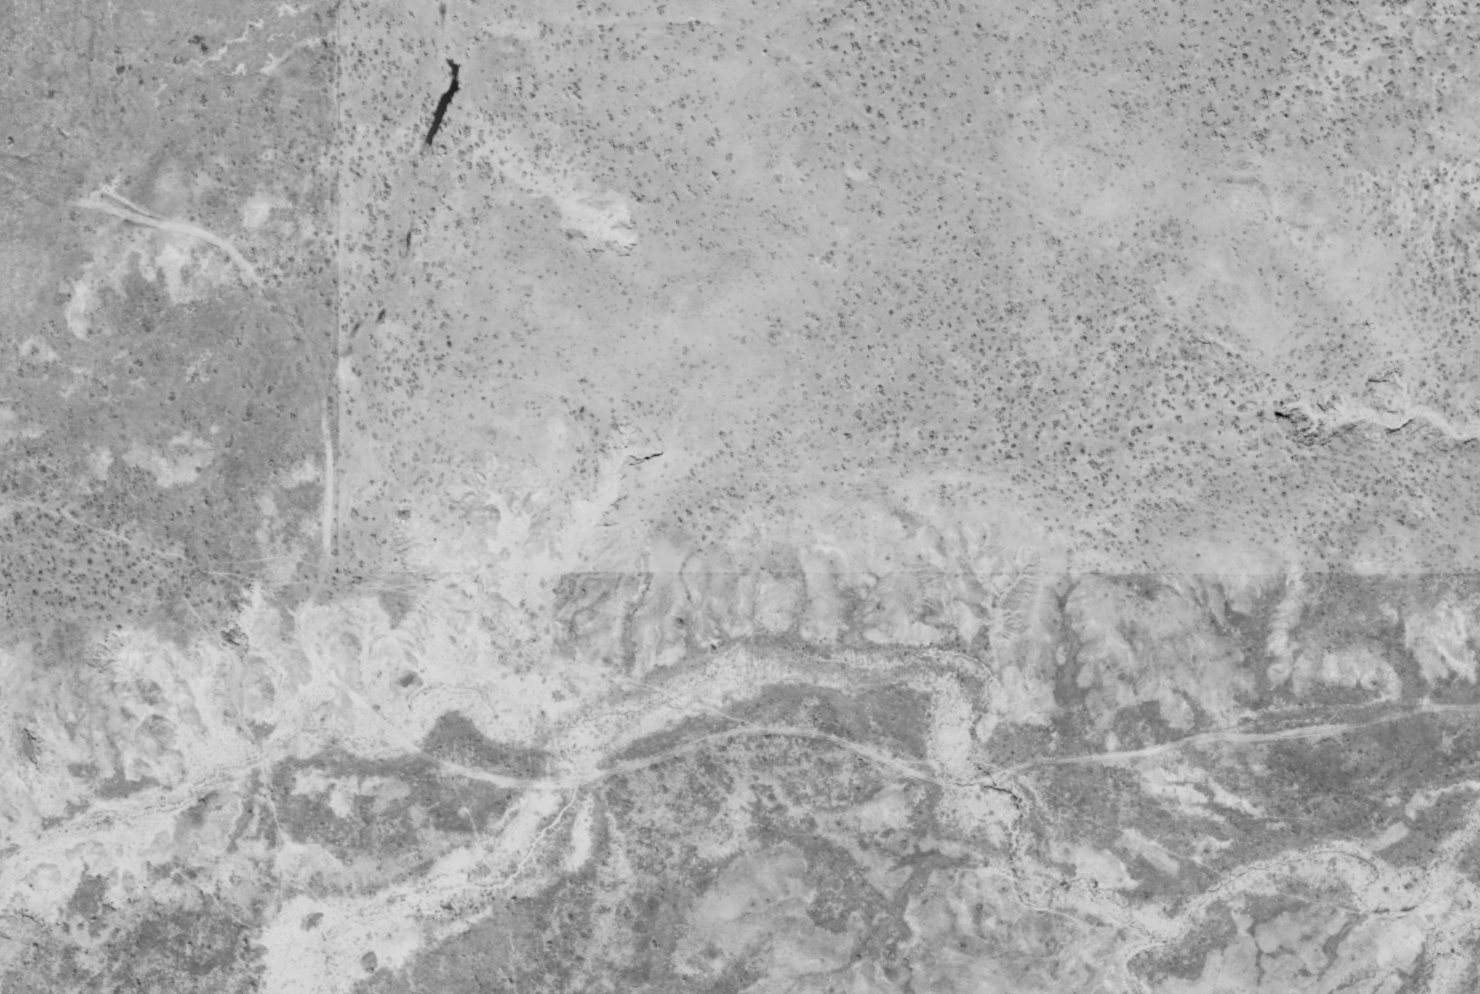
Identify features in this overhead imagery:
road: (96, 102)
road: (993, 225)

